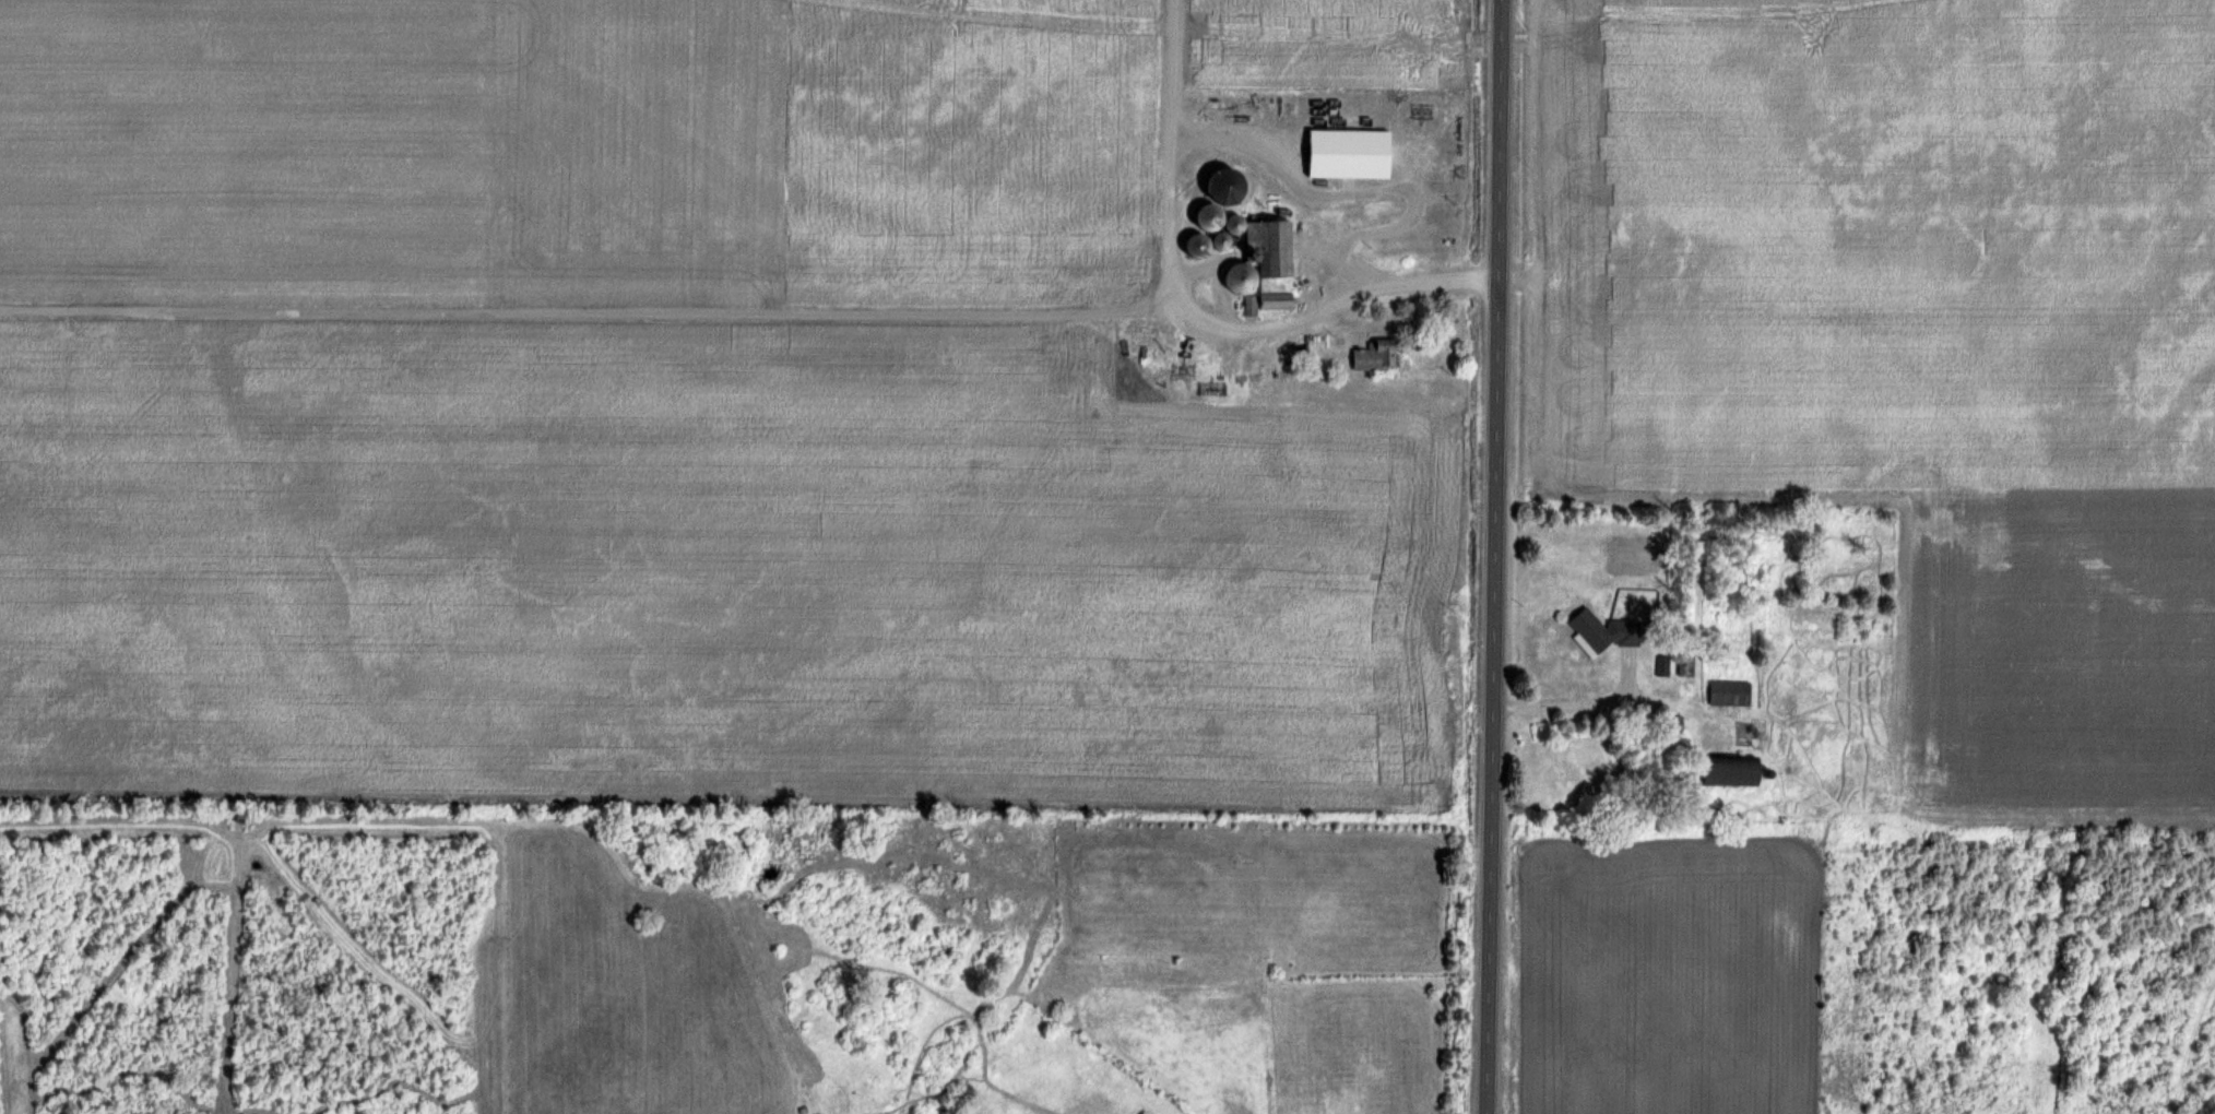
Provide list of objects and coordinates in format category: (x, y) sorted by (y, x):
building: (1209, 216)
building: (1198, 244)
building: (1264, 260)
building: (1376, 355)
building: (1289, 362)
road: (1494, 557)
building: (1602, 629)
building: (1729, 691)
building: (1729, 769)
building: (1934, 796)

